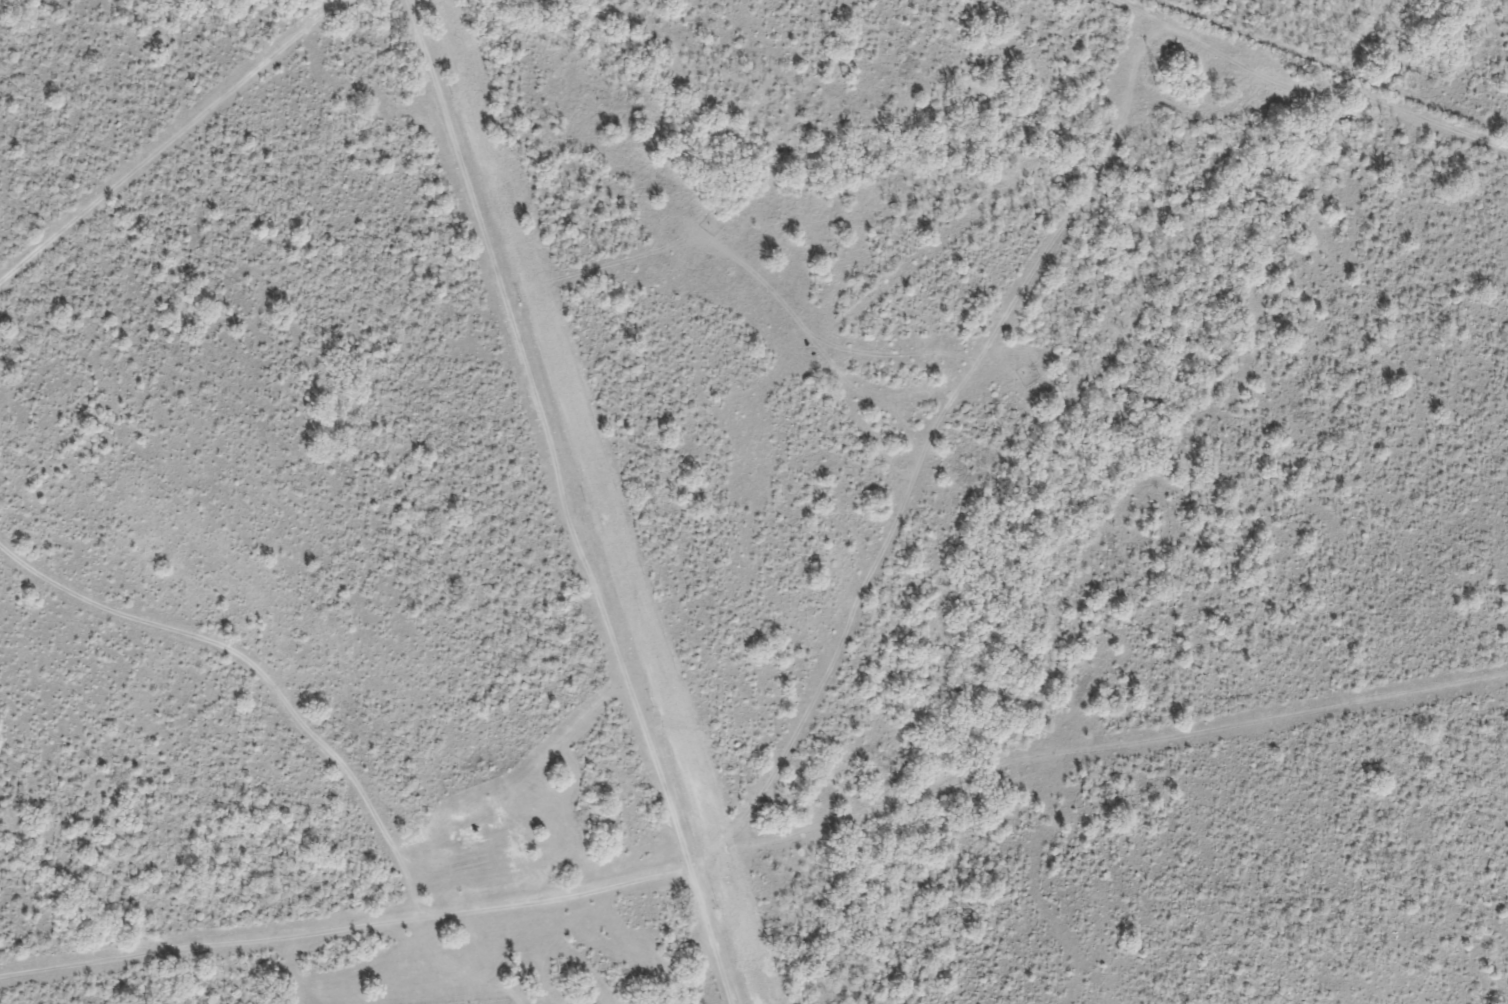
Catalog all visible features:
road: (1194, 14)
road: (169, 139)

